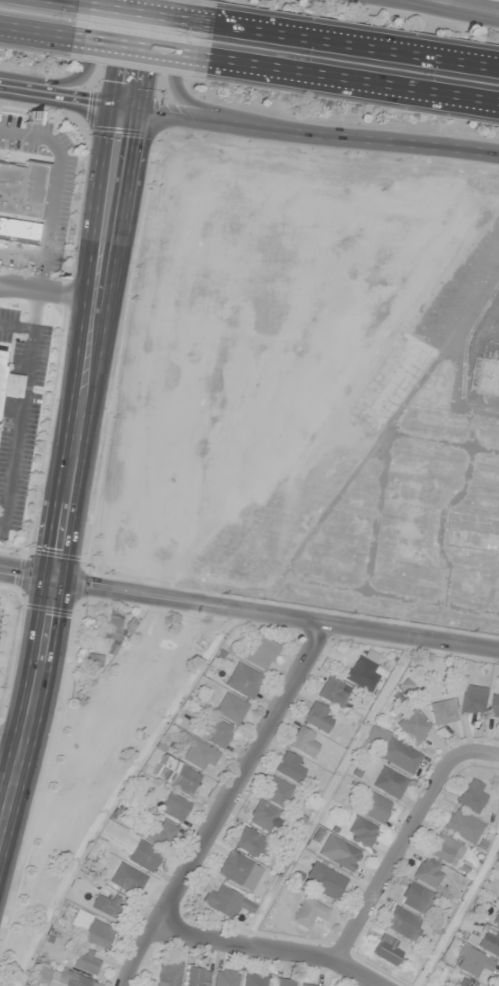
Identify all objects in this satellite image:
road: (59, 2)
road: (457, 7)
road: (144, 15)
road: (35, 37)
road: (355, 47)
road: (131, 53)
road: (138, 53)
road: (80, 78)
road: (352, 85)
road: (184, 100)
traffic signals: (124, 107)
road: (248, 125)
road: (56, 187)
building: (22, 189)
road: (22, 254)
road: (48, 291)
road: (90, 343)
building: (490, 378)
building: (10, 386)
road: (21, 407)
road: (28, 574)
traffic signals: (56, 579)
road: (277, 614)
building: (111, 627)
building: (262, 652)
building: (95, 661)
building: (363, 674)
building: (244, 681)
building: (332, 692)
building: (473, 699)
road: (33, 707)
building: (494, 707)
building: (231, 708)
building: (443, 712)
building: (319, 717)
building: (414, 727)
building: (218, 733)
building: (304, 742)
building: (199, 753)
road: (480, 753)
building: (399, 755)
building: (290, 767)
building: (176, 775)
building: (390, 783)
building: (277, 791)
building: (472, 796)
road: (224, 804)
building: (174, 807)
building: (376, 808)
building: (264, 817)
building: (463, 827)
building: (161, 832)
building: (362, 832)
building: (254, 844)
building: (443, 848)
road: (395, 852)
building: (340, 853)
building: (145, 856)
building: (235, 868)
building: (429, 873)
building: (128, 879)
building: (326, 881)
building: (416, 898)
building: (227, 903)
building: (109, 906)
building: (310, 913)
building: (496, 919)
building: (404, 924)
building: (93, 930)
building: (490, 942)
road: (274, 946)
building: (388, 949)
building: (88, 962)
building: (473, 962)
building: (169, 974)
building: (198, 977)
building: (57, 978)
building: (226, 978)
building: (255, 980)
building: (283, 982)
building: (464, 984)
building: (307, 985)

